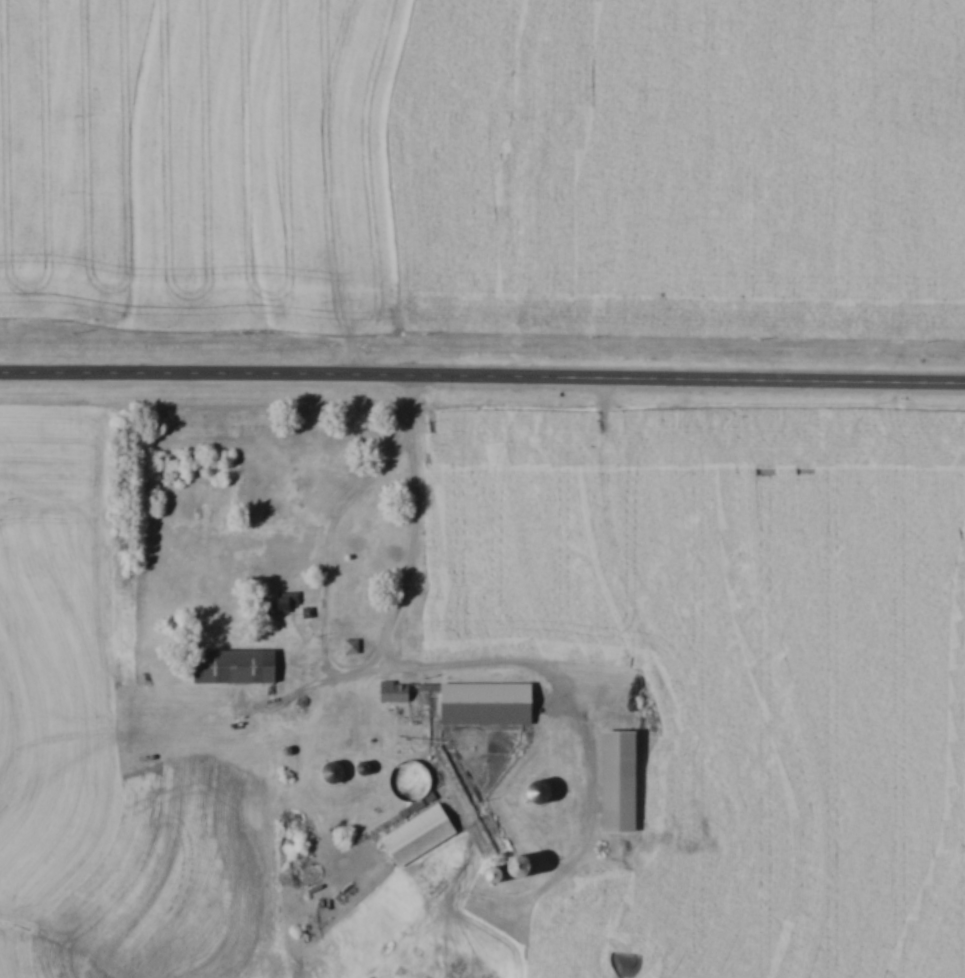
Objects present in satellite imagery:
road: (482, 373)
road: (411, 407)
building: (277, 603)
building: (230, 667)
road: (375, 670)
building: (451, 705)
building: (357, 768)
building: (327, 772)
building: (611, 782)

